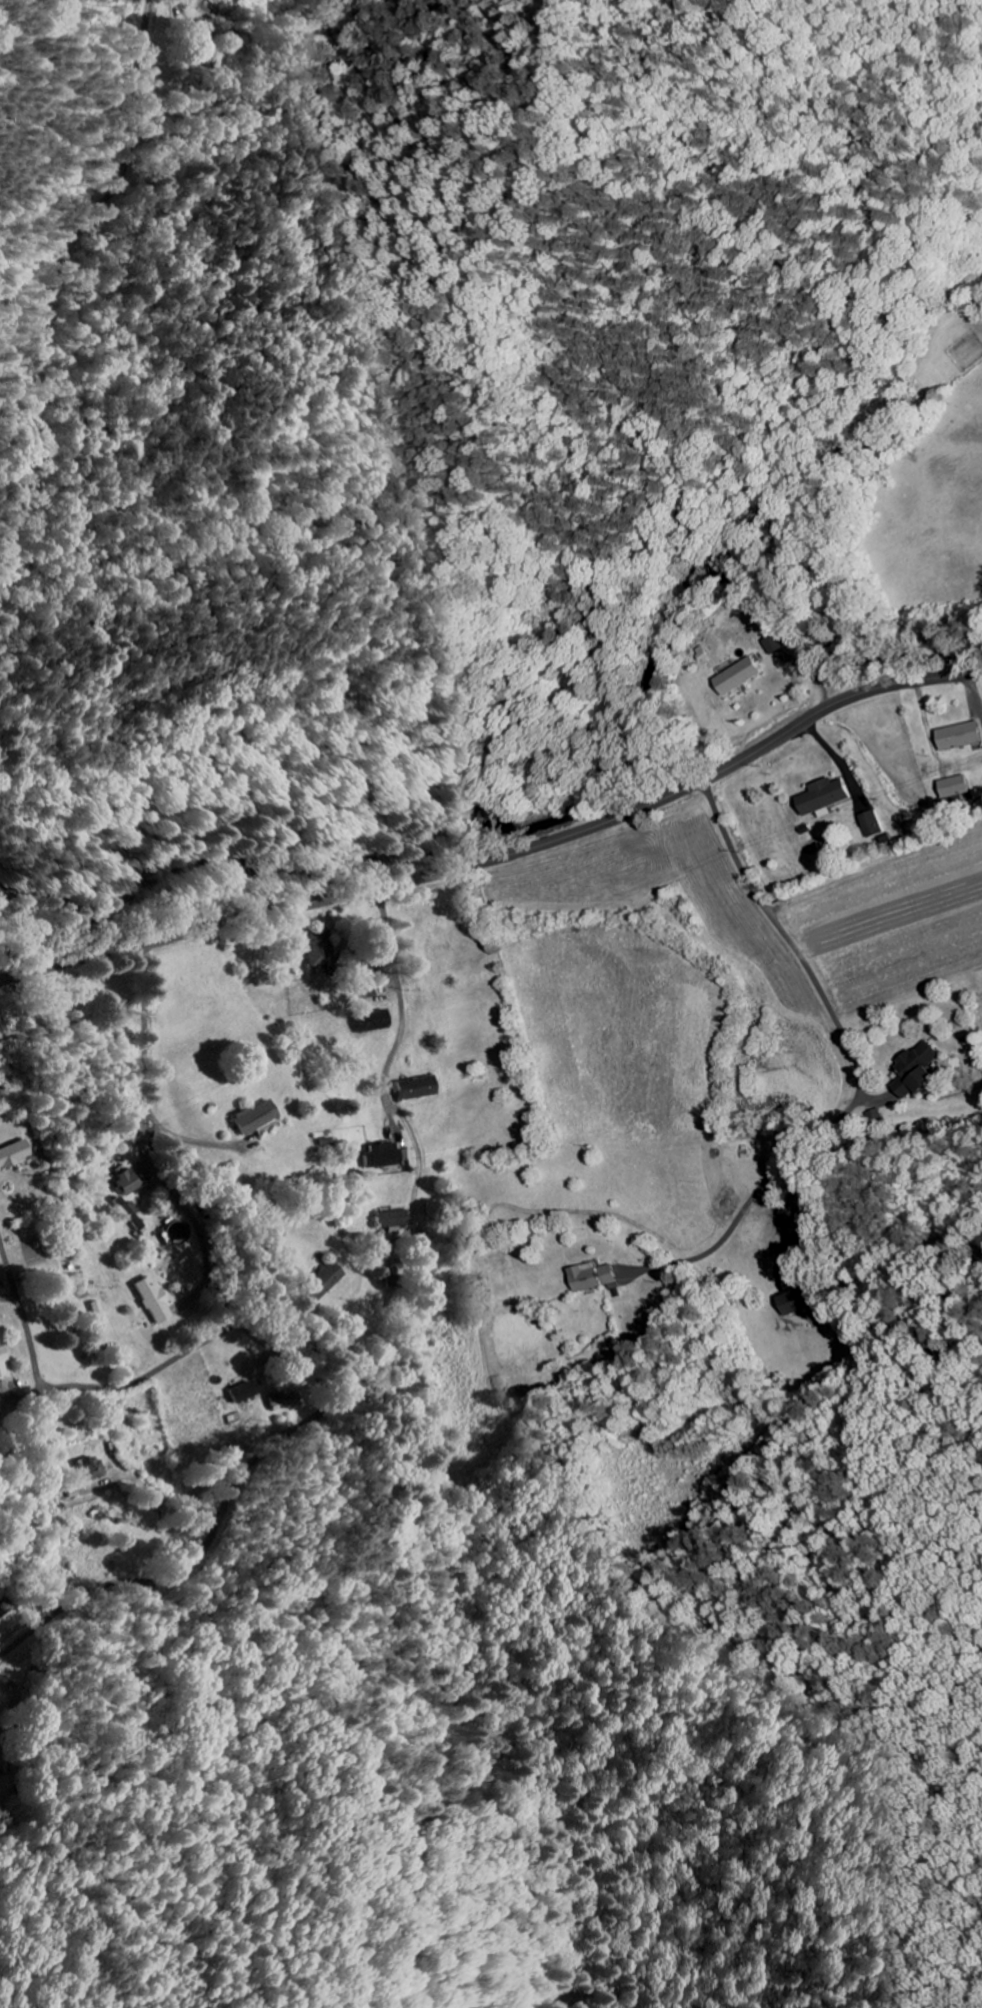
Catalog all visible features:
road: (66, 266)
building: (772, 643)
building: (736, 676)
building: (956, 736)
building: (951, 786)
building: (822, 796)
building: (869, 824)
road: (503, 856)
road: (19, 931)
building: (318, 951)
road: (403, 995)
building: (370, 1021)
road: (146, 1033)
road: (854, 1062)
building: (912, 1070)
building: (413, 1088)
building: (251, 1118)
building: (12, 1154)
building: (381, 1155)
building: (125, 1181)
building: (388, 1220)
building: (813, 1223)
building: (593, 1277)
building: (318, 1281)
building: (149, 1299)
building: (799, 1299)
building: (94, 1310)
building: (2, 1361)
road: (73, 1384)
building: (243, 1391)
road: (297, 1426)
building: (88, 1468)
building: (0, 1612)

